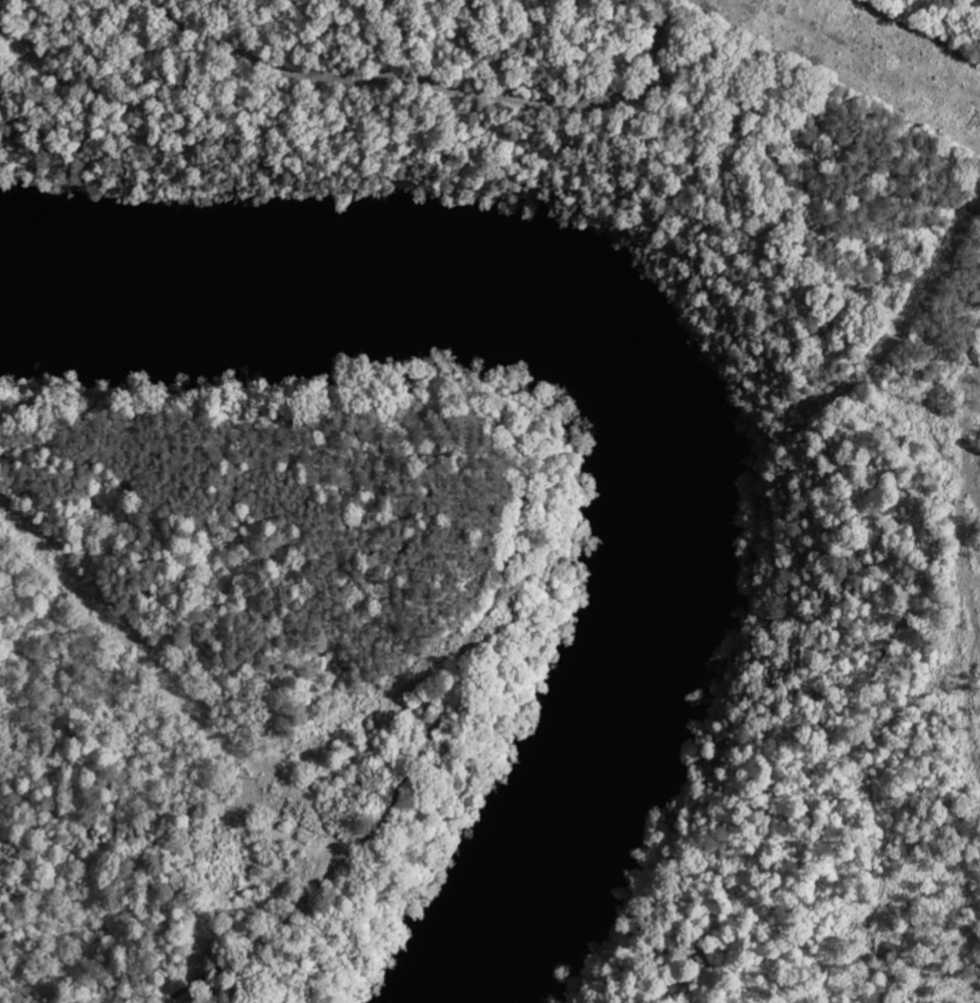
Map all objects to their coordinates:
road: (392, 76)
road: (810, 151)
road: (802, 160)
river: (655, 374)
road: (232, 957)

